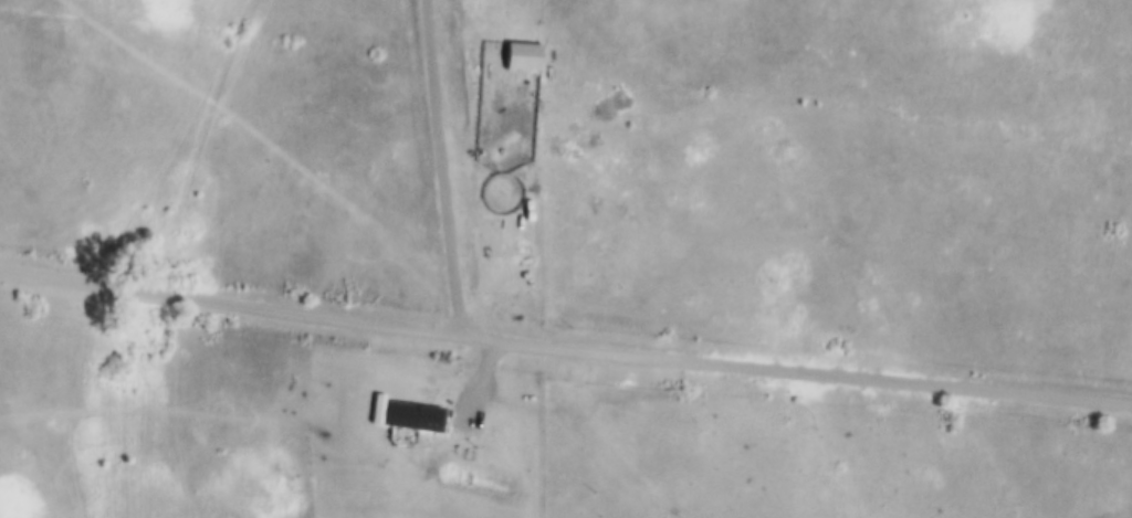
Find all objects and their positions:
building: (517, 35)
road: (447, 169)
road: (558, 173)
road: (564, 351)
road: (485, 380)
building: (419, 409)

